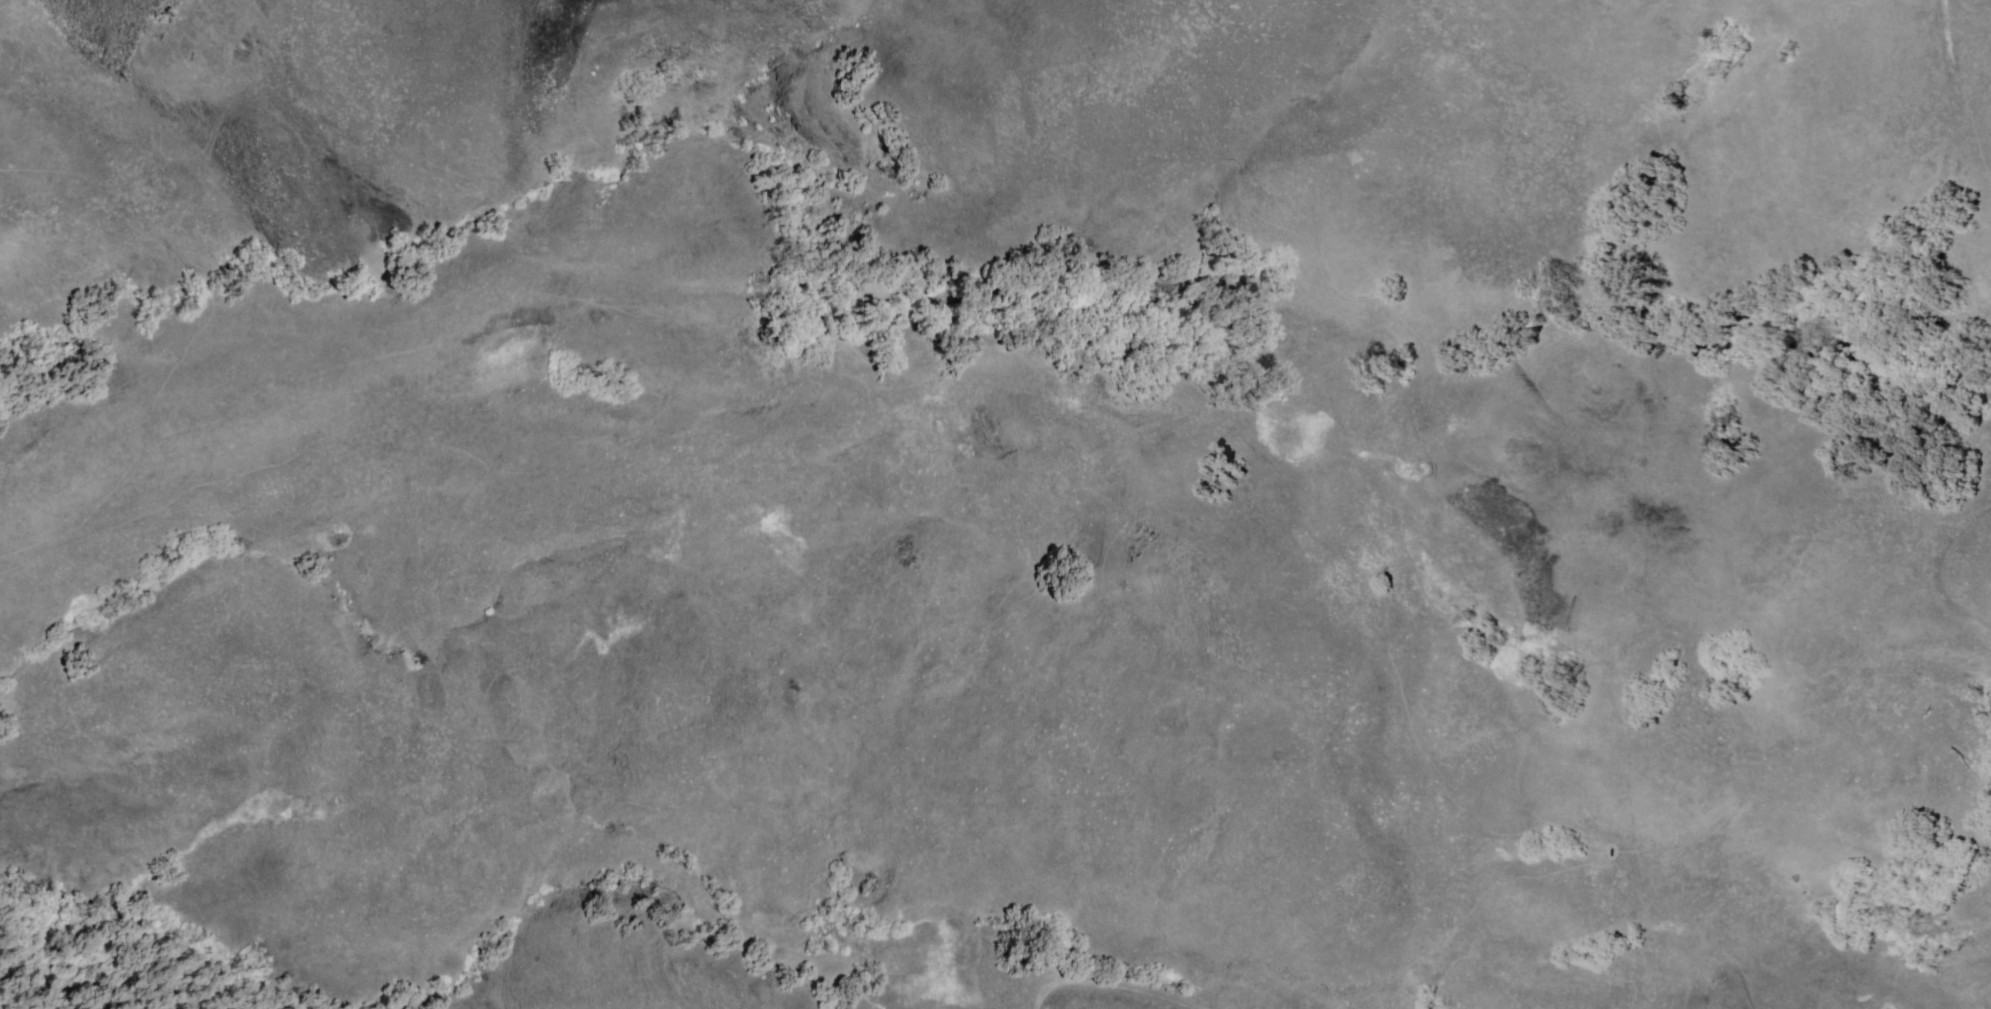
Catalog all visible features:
road: (1117, 982)

